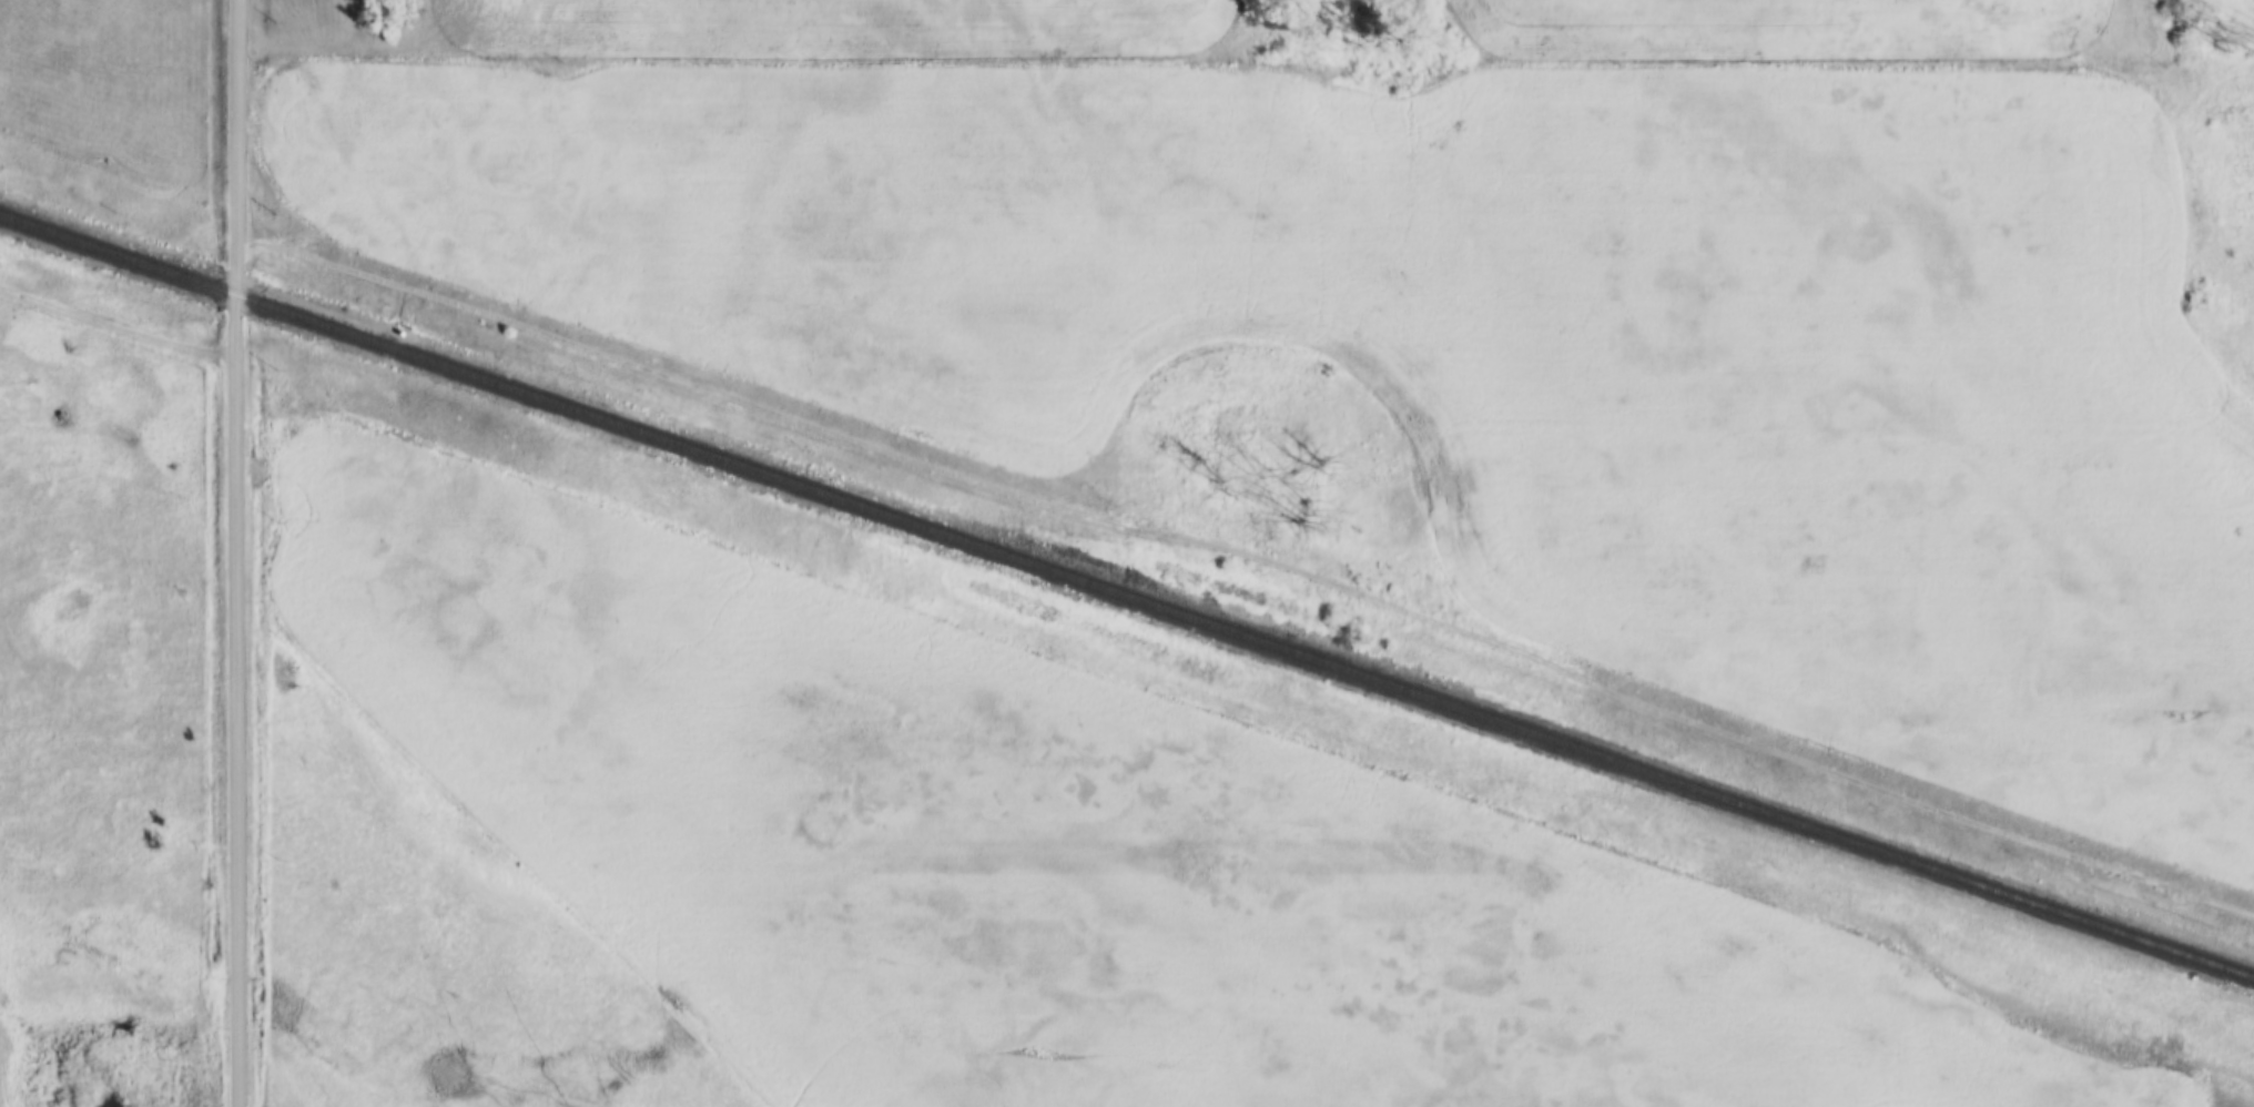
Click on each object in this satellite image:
road: (234, 552)
railway: (1127, 597)

